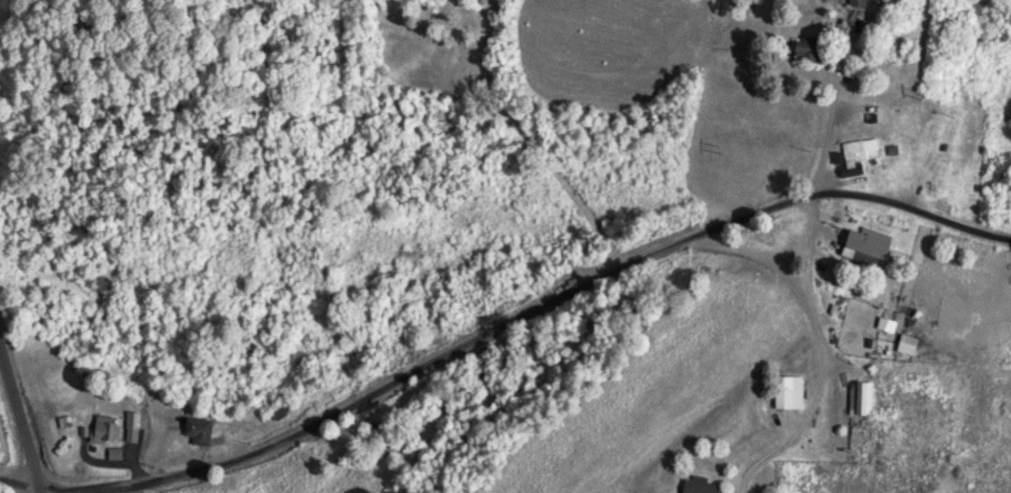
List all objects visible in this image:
building: (854, 3)
building: (805, 51)
building: (856, 151)
building: (934, 180)
building: (861, 247)
road: (491, 305)
building: (902, 343)
building: (785, 391)
building: (857, 397)
building: (279, 410)
building: (127, 418)
road: (20, 423)
building: (99, 428)
building: (195, 429)
building: (696, 485)

